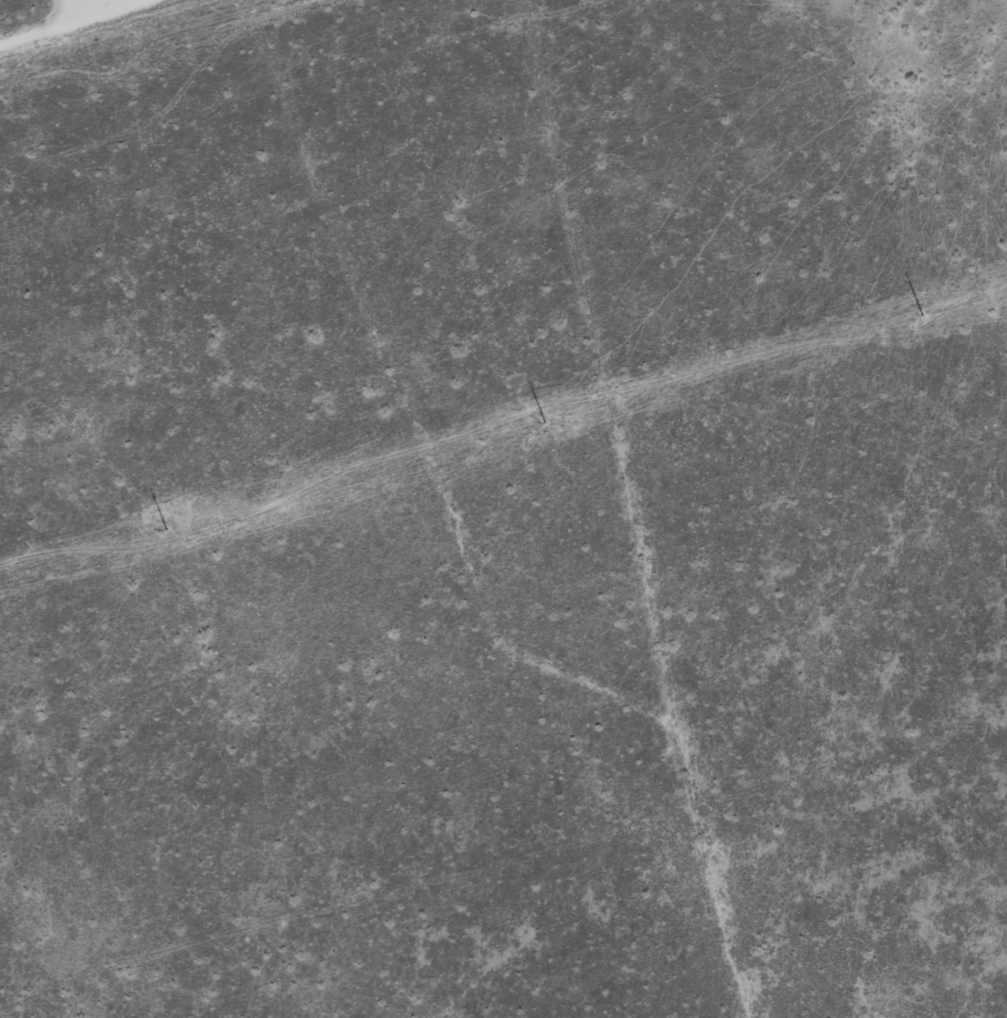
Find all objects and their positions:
road: (74, 21)
power tower: (915, 312)
power tower: (538, 420)
power tower: (160, 525)

